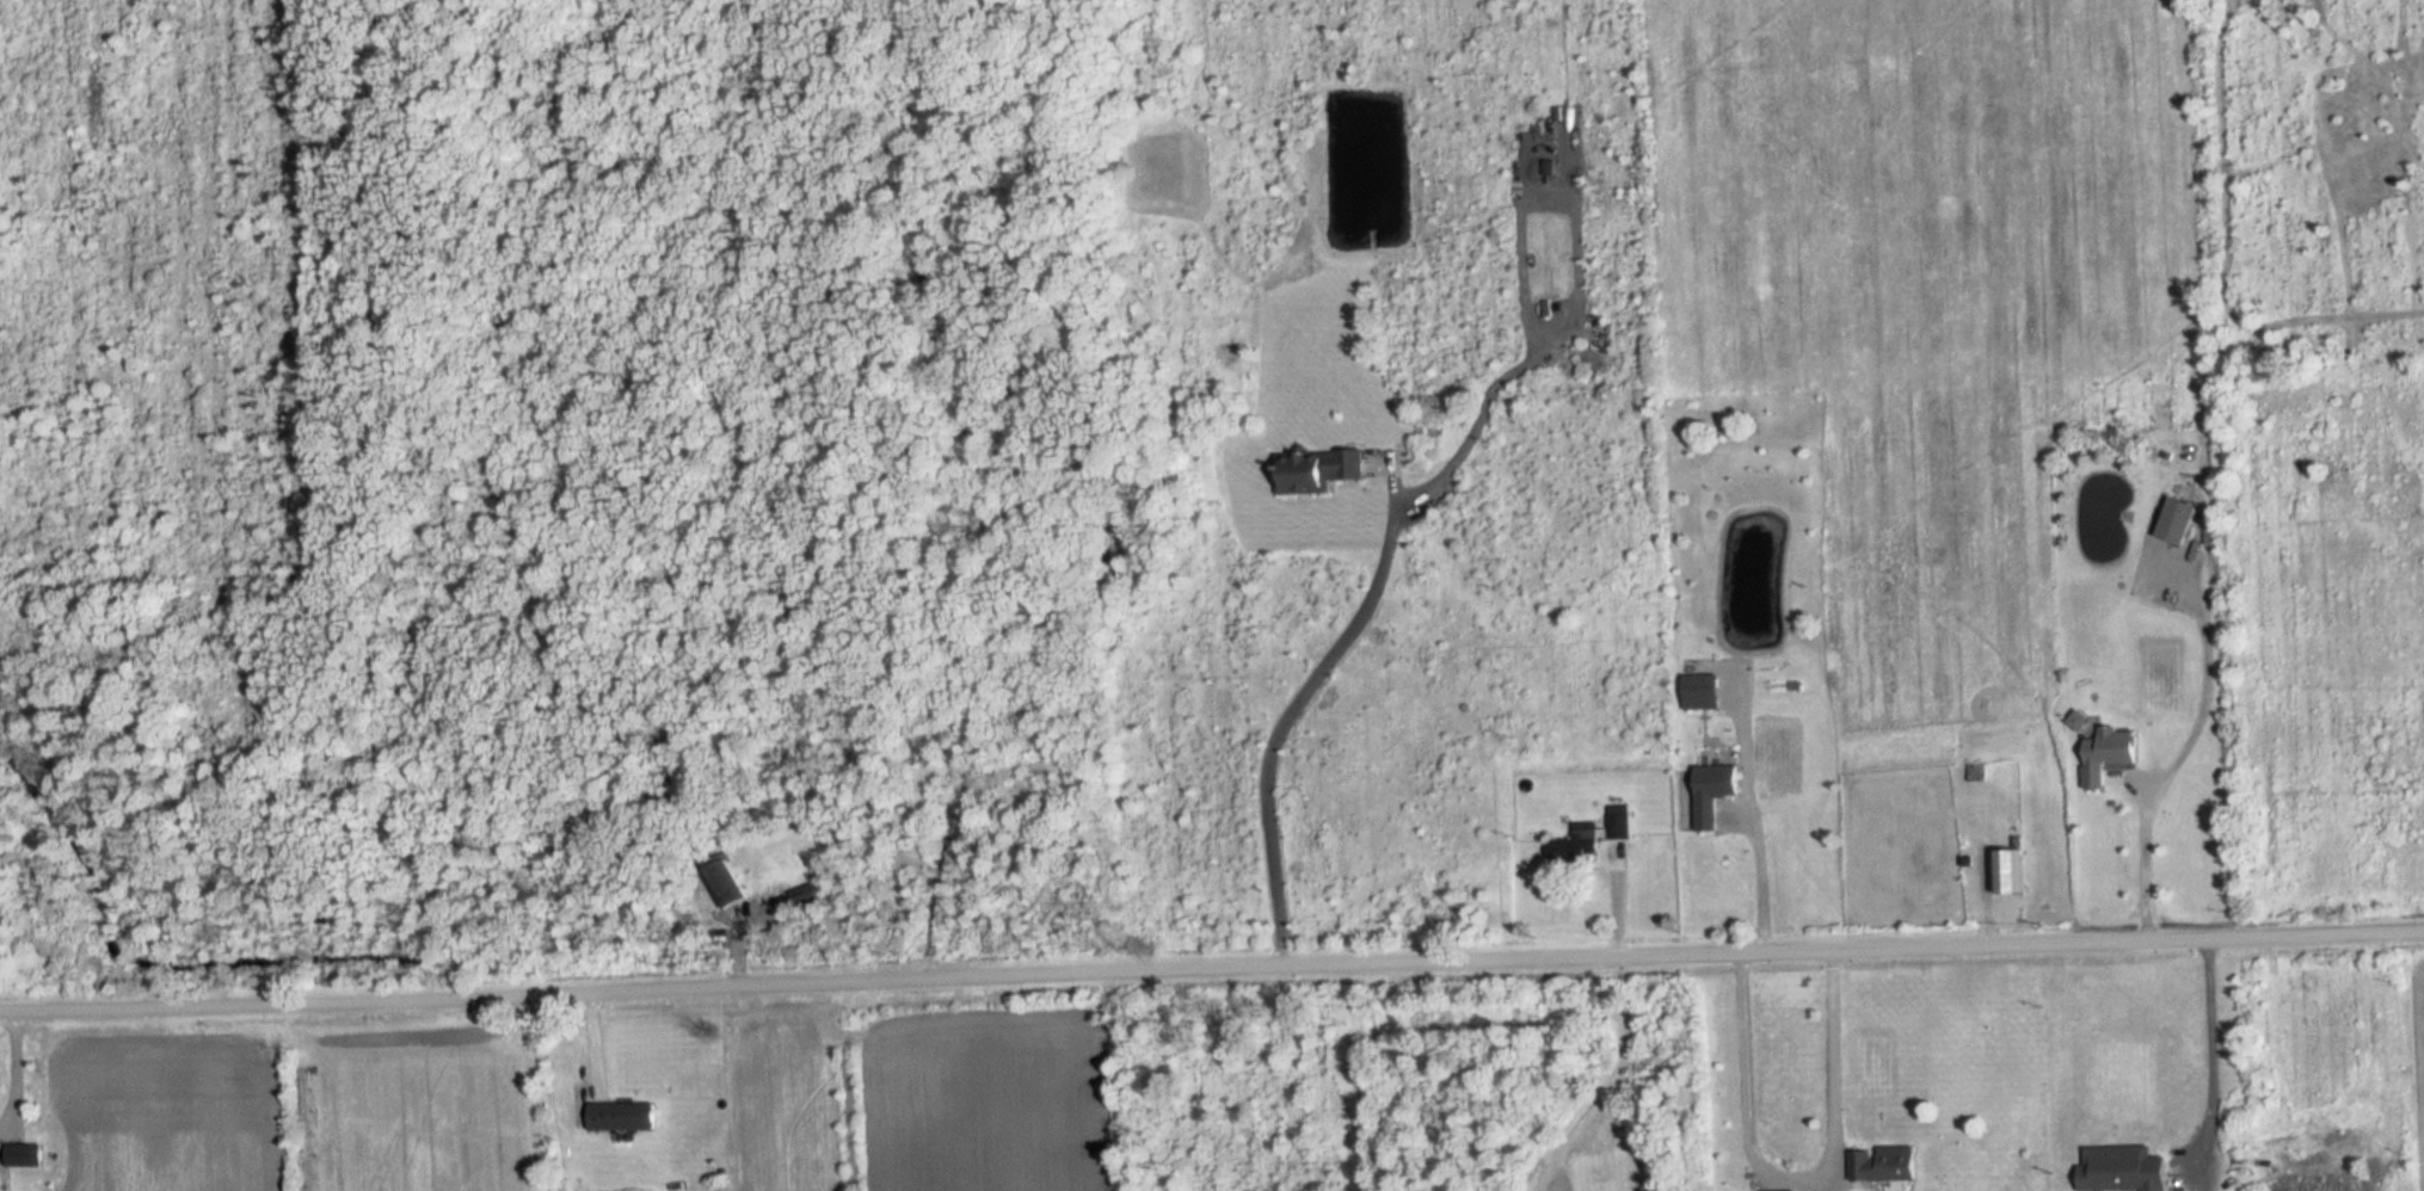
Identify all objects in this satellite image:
building: (1316, 470)
building: (2176, 520)
road: (1360, 612)
road: (2201, 683)
building: (1700, 691)
building: (2106, 753)
building: (1712, 792)
road: (1746, 812)
building: (1617, 837)
building: (1575, 845)
road: (2140, 854)
building: (2007, 872)
road: (1211, 961)
road: (2205, 1051)
road: (1606, 1075)
building: (621, 1117)
building: (23, 1155)
building: (1883, 1165)
building: (2122, 1170)
road: (1790, 1173)

